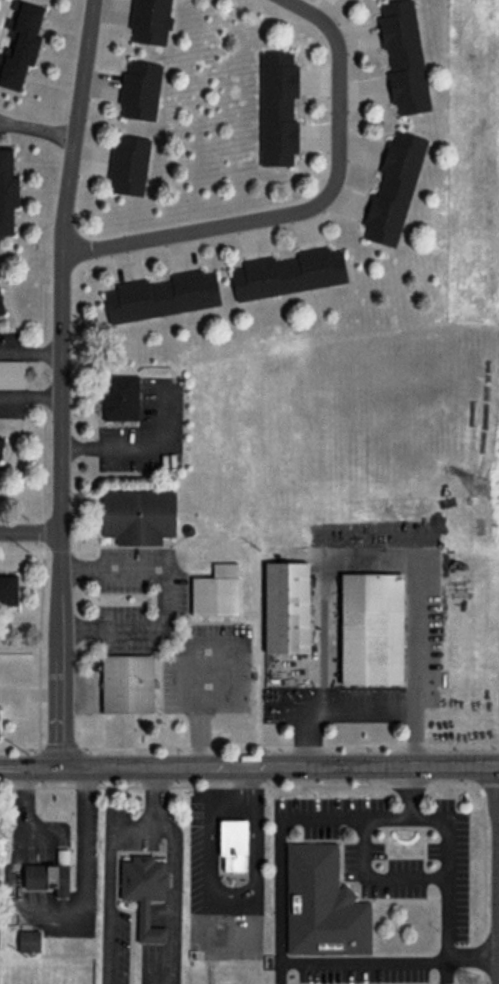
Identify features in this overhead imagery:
building: (151, 21)
building: (19, 44)
building: (402, 56)
building: (140, 89)
building: (276, 110)
building: (129, 165)
building: (392, 187)
building: (6, 191)
road: (308, 210)
building: (288, 273)
building: (161, 295)
road: (31, 353)
building: (12, 374)
road: (61, 383)
building: (123, 397)
road: (30, 398)
road: (118, 445)
building: (1, 446)
power tower: (485, 491)
road: (43, 515)
building: (140, 515)
road: (28, 535)
building: (9, 589)
building: (218, 590)
road: (166, 594)
building: (288, 606)
building: (374, 628)
building: (129, 684)
road: (198, 705)
road: (354, 711)
road: (249, 747)
road: (278, 767)
road: (29, 769)
road: (249, 786)
road: (151, 790)
road: (409, 791)
road: (279, 841)
building: (234, 843)
parking lot: (392, 869)
road: (497, 874)
building: (51, 875)
road: (376, 877)
road: (103, 885)
building: (147, 891)
road: (171, 894)
building: (324, 903)
building: (31, 940)

